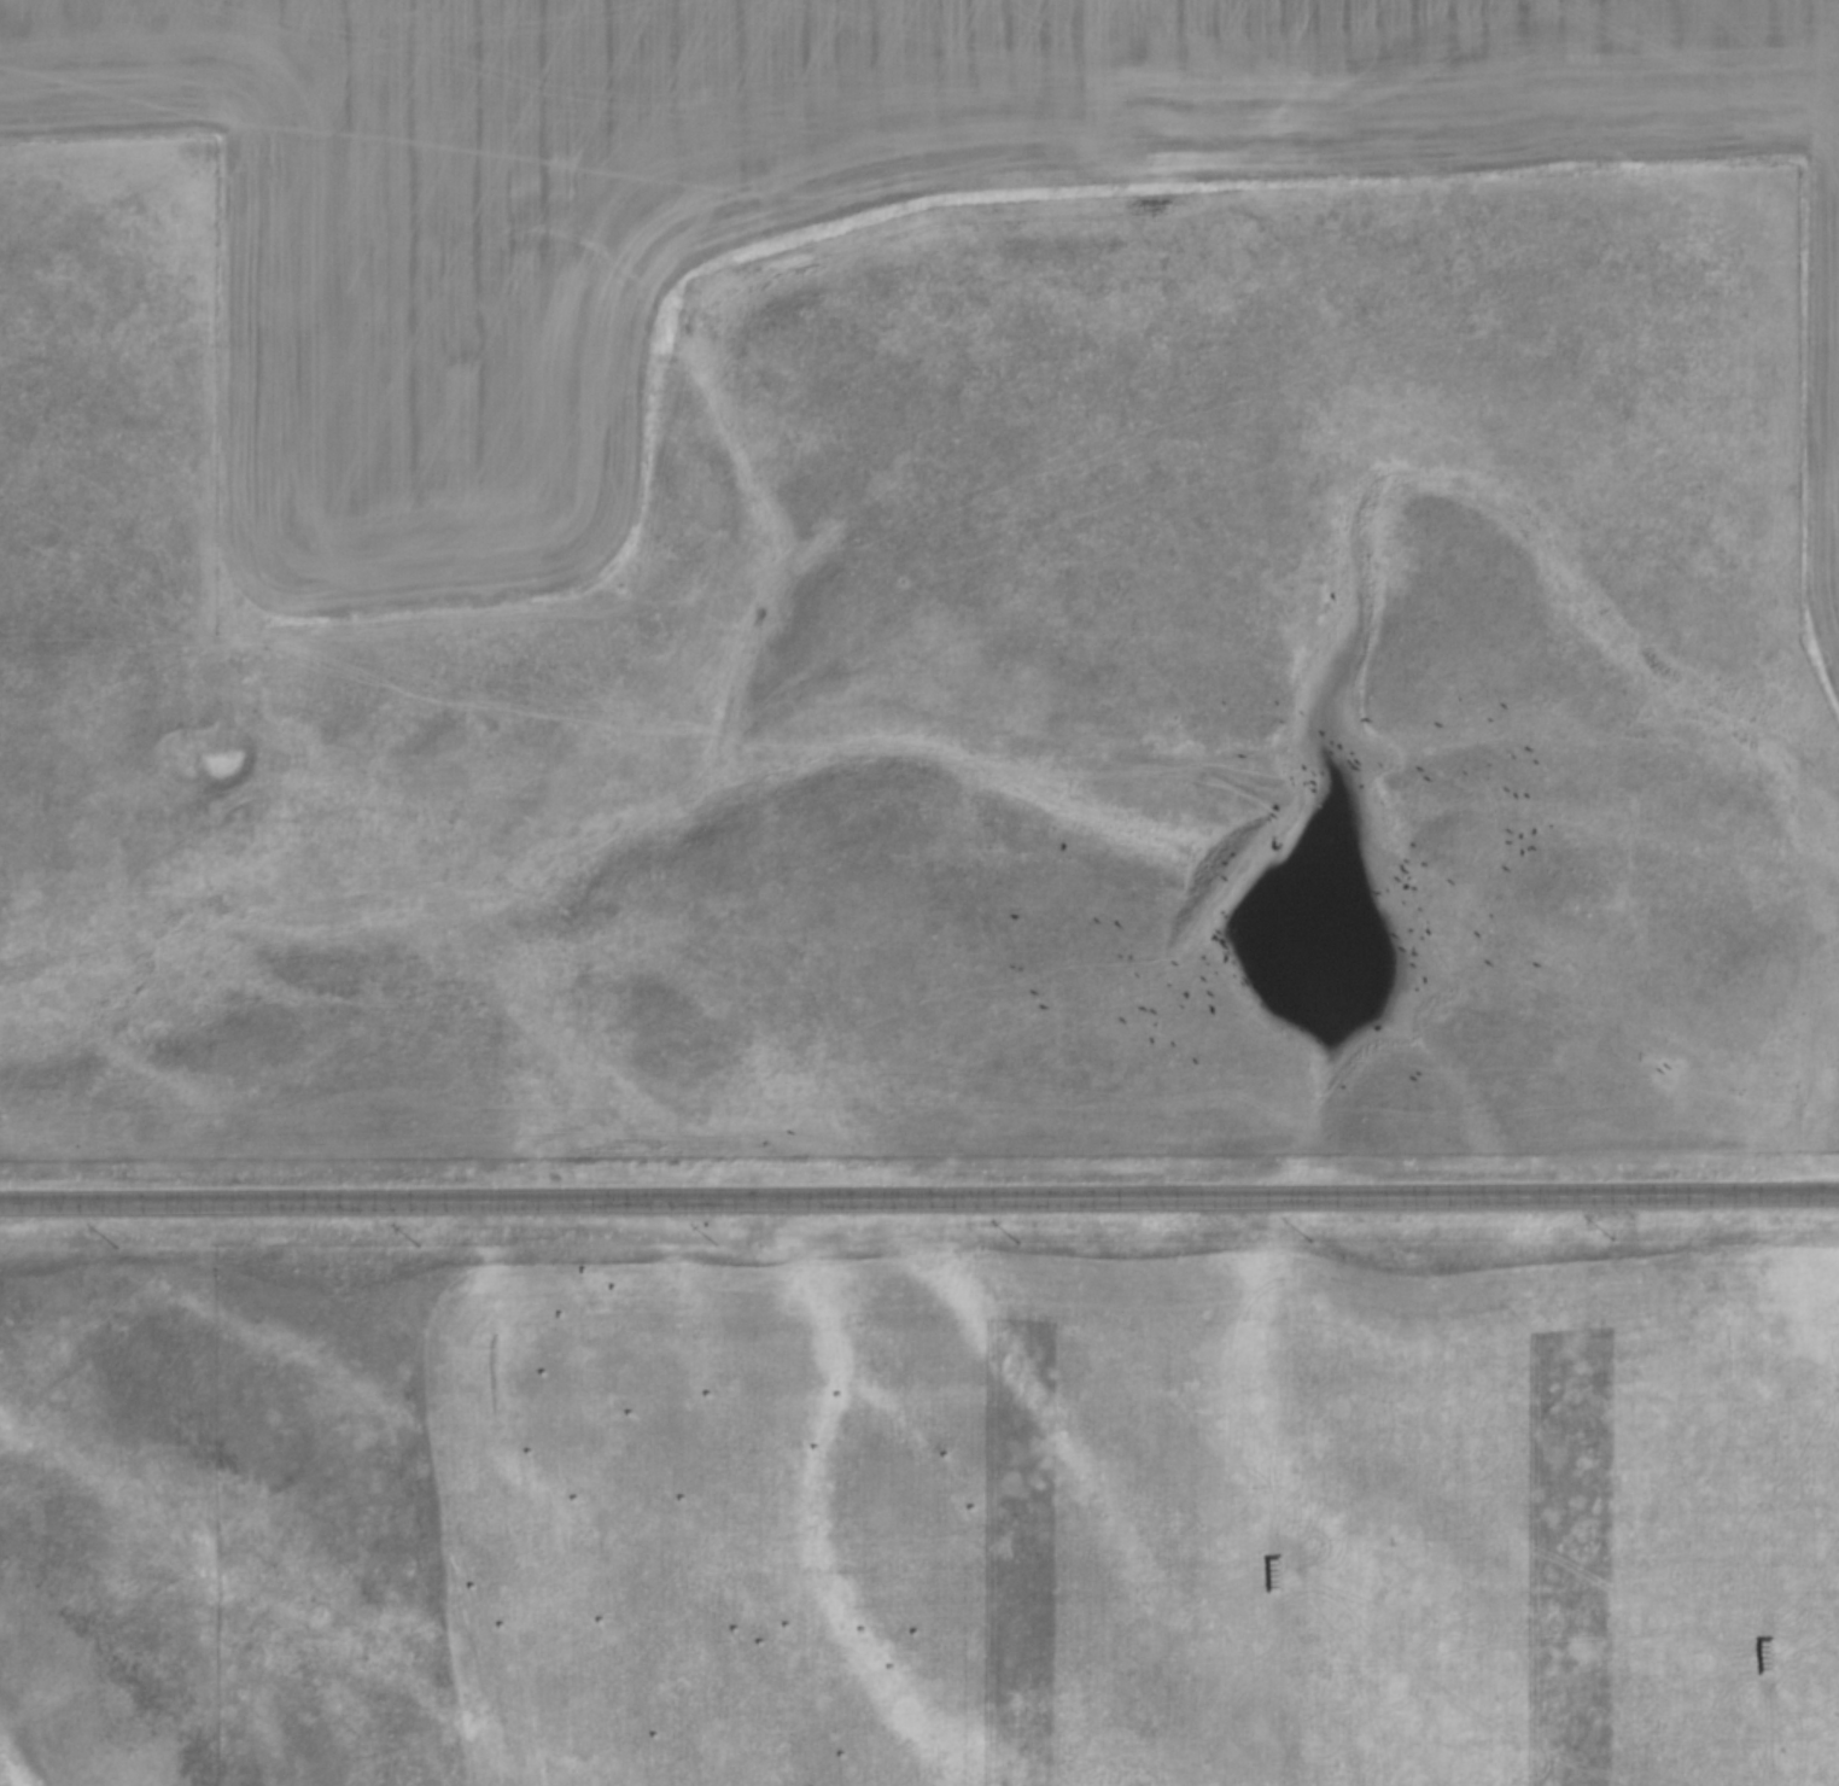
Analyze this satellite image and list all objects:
road: (920, 1193)

